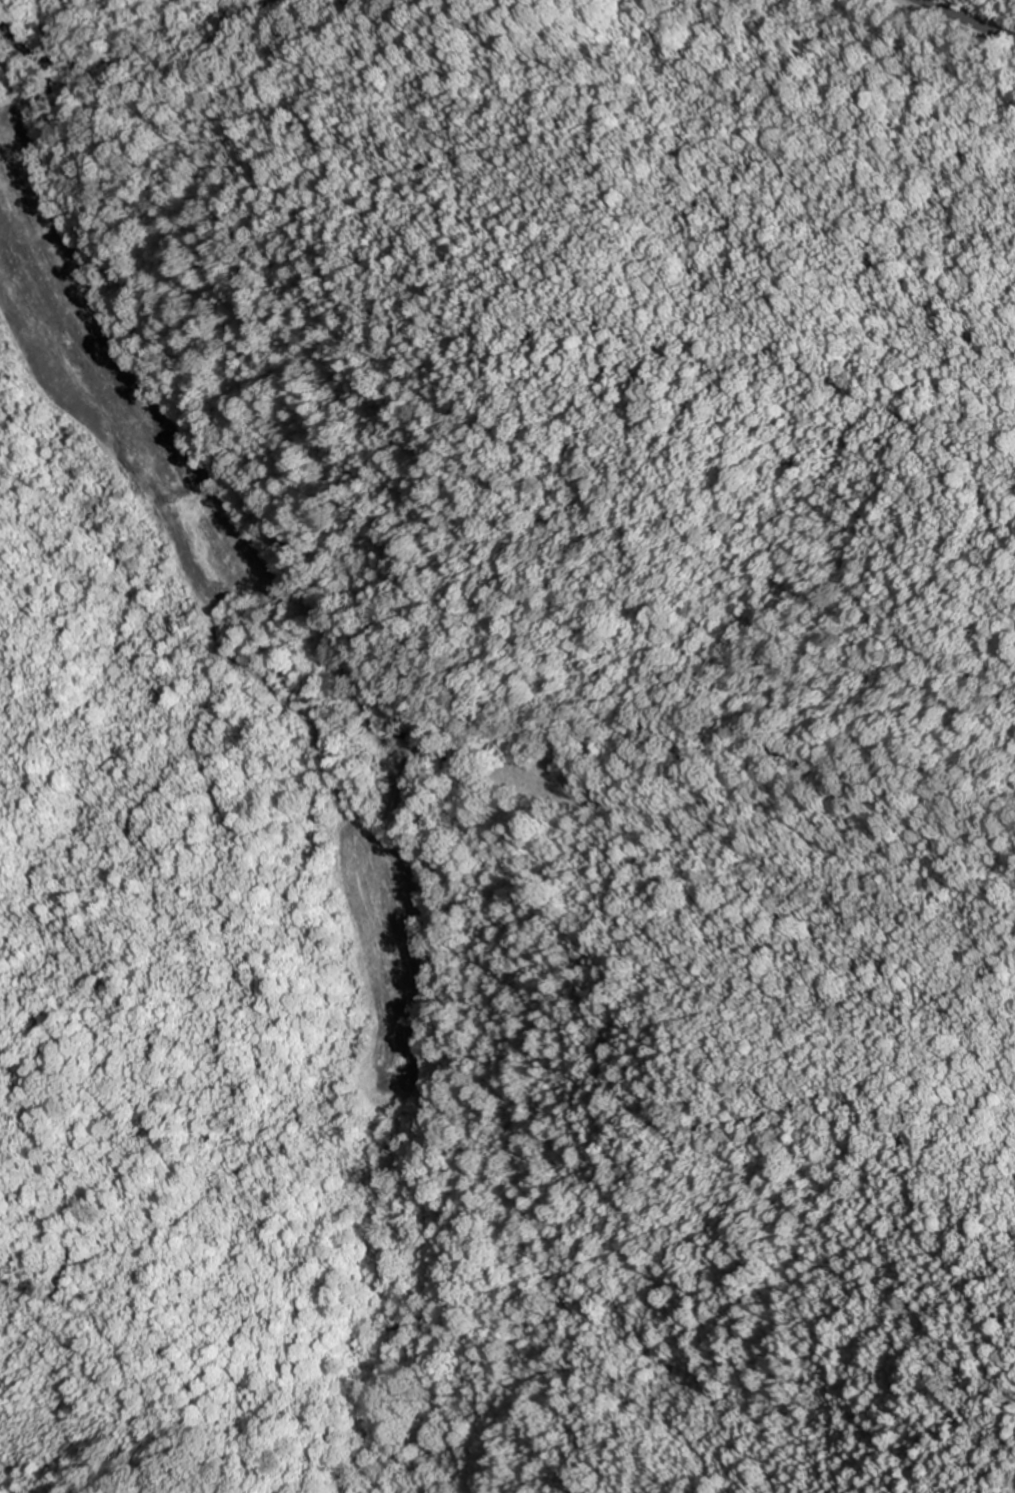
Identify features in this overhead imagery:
road: (968, 19)

